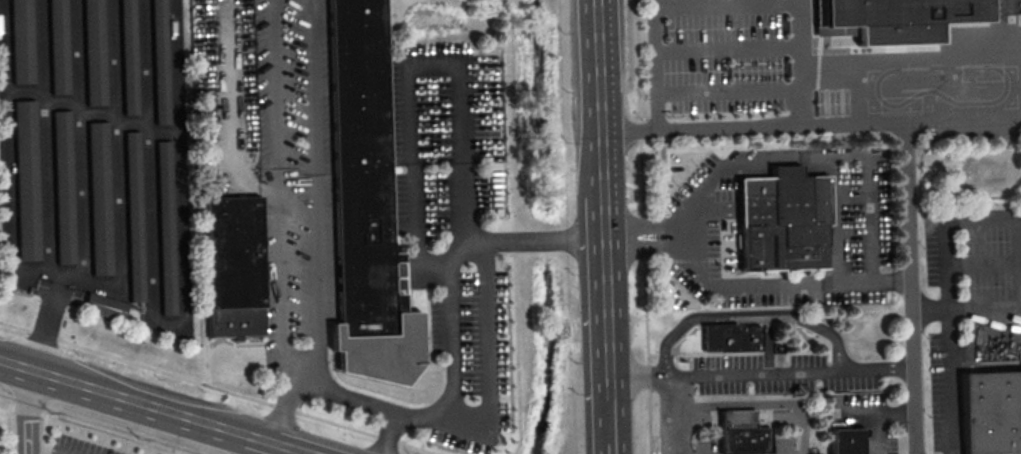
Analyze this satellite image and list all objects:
road: (725, 4)
building: (898, 18)
road: (1013, 27)
road: (799, 29)
building: (21, 41)
building: (57, 46)
road: (726, 49)
building: (93, 52)
building: (127, 57)
road: (910, 60)
building: (159, 61)
road: (408, 68)
road: (727, 90)
road: (856, 94)
road: (226, 112)
road: (851, 125)
road: (697, 128)
road: (10, 157)
road: (120, 176)
building: (26, 179)
building: (62, 186)
road: (871, 188)
road: (851, 196)
building: (98, 198)
road: (601, 201)
building: (365, 204)
building: (133, 216)
road: (676, 218)
road: (998, 220)
building: (777, 224)
road: (636, 226)
building: (164, 227)
road: (642, 227)
road: (909, 231)
road: (1020, 245)
road: (636, 250)
road: (981, 263)
building: (231, 267)
road: (451, 300)
road: (1020, 301)
building: (103, 306)
road: (744, 317)
road: (48, 324)
building: (729, 339)
road: (300, 361)
road: (489, 363)
road: (878, 369)
road: (291, 372)
road: (755, 375)
road: (948, 382)
road: (214, 389)
road: (314, 391)
road: (122, 398)
road: (741, 404)
road: (25, 411)
road: (26, 412)
road: (880, 412)
building: (991, 413)
road: (609, 421)
road: (667, 431)
building: (740, 433)
road: (876, 433)
road: (258, 439)
building: (846, 442)
road: (611, 447)
road: (270, 448)
road: (290, 448)
road: (41, 449)

